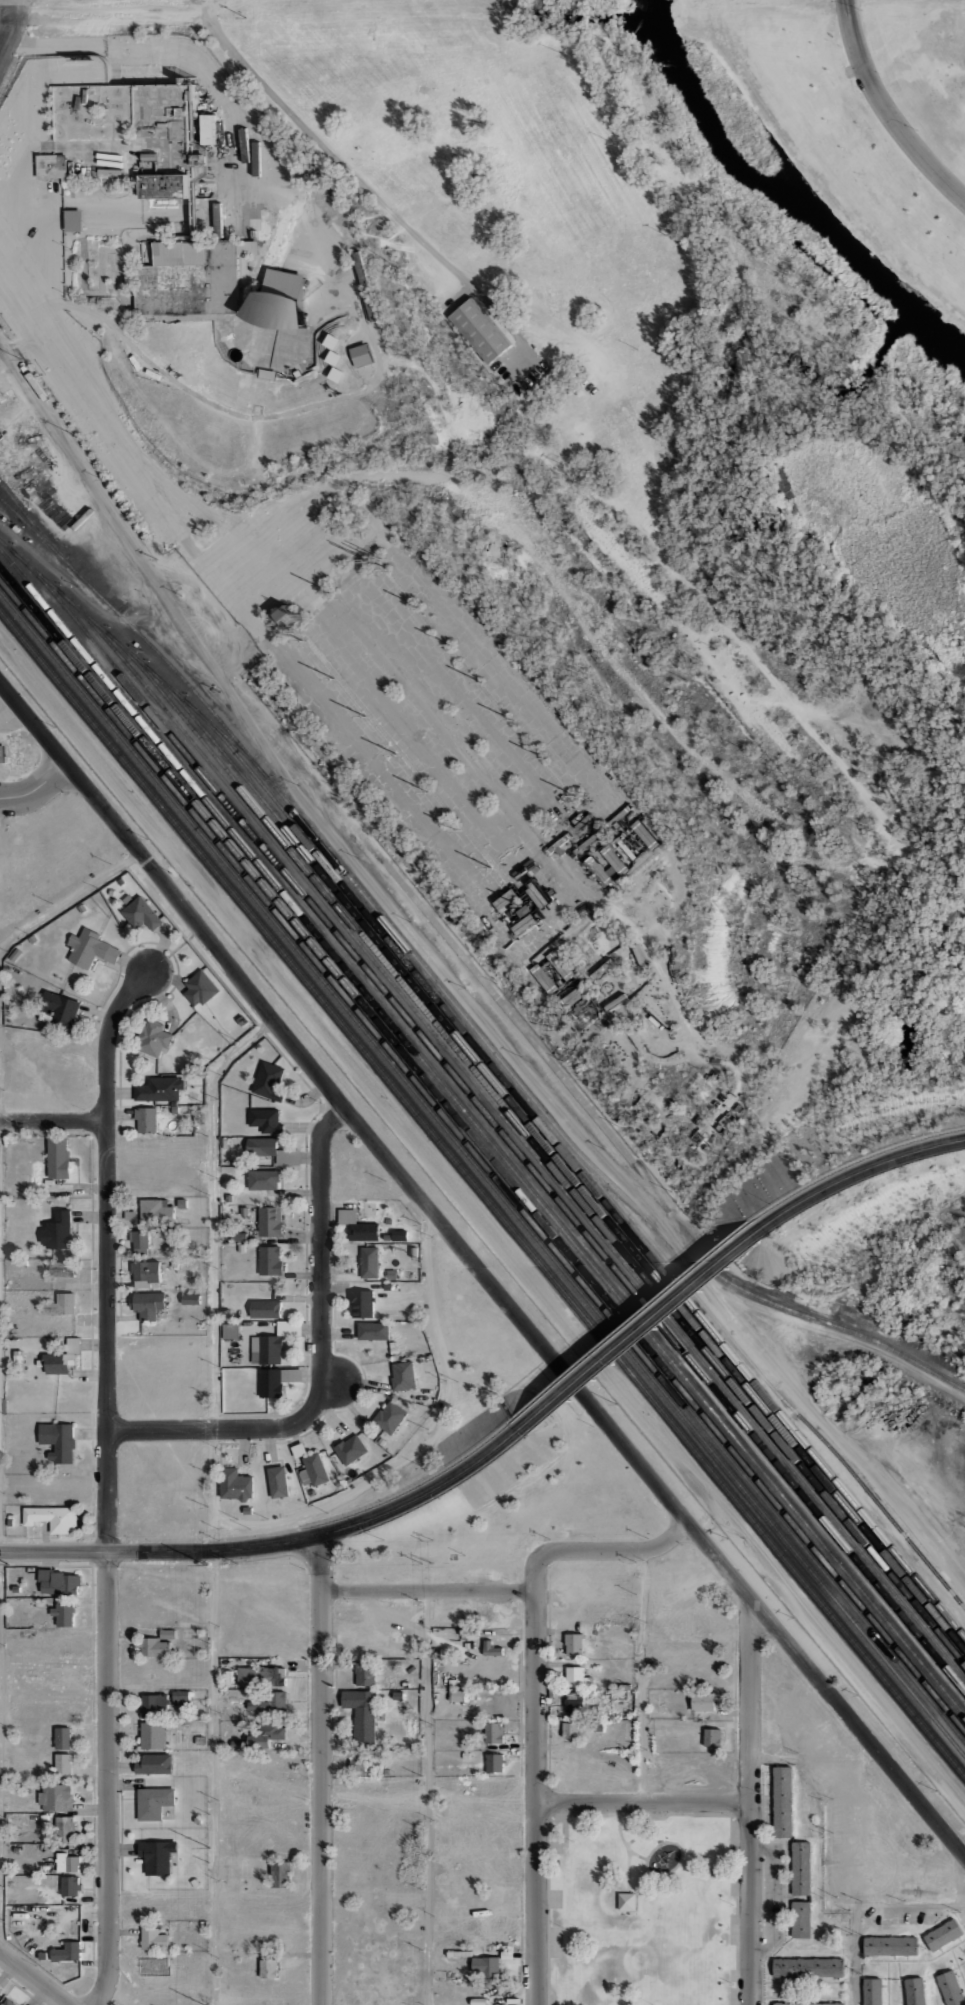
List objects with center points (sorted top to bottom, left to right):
road: (200, 9)
road: (10, 26)
road: (885, 112)
road: (295, 122)
building: (207, 130)
building: (152, 156)
building: (198, 160)
building: (52, 166)
building: (167, 186)
river: (785, 195)
building: (204, 211)
building: (216, 220)
building: (73, 221)
building: (276, 233)
building: (246, 248)
building: (262, 268)
building: (361, 268)
building: (188, 279)
road: (14, 302)
building: (277, 303)
building: (370, 304)
park: (717, 305)
building: (479, 331)
building: (330, 342)
building: (361, 355)
building: (332, 358)
building: (265, 374)
building: (295, 374)
building: (335, 375)
building: (258, 409)
road: (447, 464)
building: (269, 494)
railway: (30, 519)
road: (189, 569)
road: (76, 592)
building: (287, 616)
railway: (134, 657)
building: (2, 754)
road: (36, 788)
building: (616, 863)
building: (120, 882)
building: (112, 893)
road: (66, 897)
building: (81, 908)
road: (423, 909)
building: (141, 914)
building: (32, 939)
building: (91, 949)
building: (15, 955)
building: (560, 966)
building: (543, 979)
road: (459, 988)
building: (200, 990)
building: (573, 997)
building: (615, 1002)
building: (60, 1009)
building: (241, 1020)
road: (685, 1024)
building: (152, 1037)
road: (668, 1042)
railway: (489, 1049)
building: (716, 1062)
building: (273, 1082)
building: (155, 1089)
building: (175, 1110)
road: (677, 1115)
building: (146, 1119)
building: (265, 1120)
road: (51, 1121)
railway: (494, 1125)
railway: (482, 1134)
railway: (520, 1143)
railway: (482, 1147)
building: (225, 1149)
building: (264, 1150)
railway: (541, 1155)
building: (289, 1157)
building: (58, 1158)
railway: (482, 1163)
railway: (564, 1168)
road: (854, 1173)
railway: (482, 1176)
railway: (583, 1176)
building: (263, 1180)
railway: (482, 1195)
building: (228, 1198)
building: (168, 1202)
building: (182, 1203)
road: (213, 1210)
building: (244, 1211)
building: (150, 1212)
building: (169, 1212)
building: (130, 1215)
building: (270, 1221)
building: (356, 1226)
building: (58, 1231)
building: (399, 1235)
building: (168, 1237)
building: (239, 1237)
building: (387, 1237)
building: (139, 1240)
building: (241, 1248)
road: (102, 1253)
building: (269, 1260)
building: (369, 1263)
building: (174, 1265)
road: (319, 1267)
building: (64, 1270)
building: (146, 1275)
road: (477, 1276)
railway: (731, 1282)
building: (229, 1286)
building: (192, 1299)
building: (361, 1303)
building: (61, 1304)
building: (149, 1305)
building: (20, 1309)
building: (265, 1309)
building: (227, 1313)
building: (289, 1328)
road: (640, 1330)
building: (230, 1331)
building: (373, 1331)
building: (74, 1345)
building: (232, 1346)
building: (266, 1349)
building: (393, 1350)
building: (18, 1357)
building: (419, 1360)
building: (58, 1362)
building: (235, 1365)
building: (403, 1376)
building: (270, 1383)
road: (329, 1383)
building: (389, 1417)
road: (196, 1428)
building: (58, 1441)
building: (381, 1441)
road: (425, 1443)
building: (299, 1450)
building: (349, 1450)
building: (313, 1470)
building: (922, 1470)
building: (926, 1476)
building: (278, 1479)
building: (235, 1483)
road: (216, 1489)
building: (10, 1517)
building: (54, 1519)
building: (10, 1523)
road: (328, 1532)
railway: (822, 1533)
road: (19, 1538)
road: (52, 1551)
road: (600, 1551)
building: (44, 1575)
building: (62, 1584)
building: (16, 1589)
road: (426, 1590)
building: (64, 1614)
building: (167, 1634)
building: (574, 1644)
building: (470, 1645)
building: (491, 1646)
building: (153, 1647)
building: (410, 1668)
building: (365, 1674)
building: (274, 1676)
road: (640, 1676)
building: (247, 1677)
building: (577, 1678)
building: (405, 1685)
building: (553, 1694)
building: (180, 1695)
building: (458, 1695)
building: (398, 1696)
road: (535, 1696)
building: (278, 1699)
building: (704, 1702)
road: (746, 1704)
building: (256, 1705)
building: (154, 1706)
building: (574, 1706)
building: (363, 1716)
building: (569, 1730)
building: (273, 1731)
building: (494, 1733)
building: (63, 1736)
building: (153, 1736)
building: (712, 1737)
building: (466, 1755)
building: (493, 1763)
building: (363, 1764)
building: (65, 1769)
road: (320, 1770)
road: (212, 1777)
road: (104, 1780)
road: (425, 1797)
building: (56, 1798)
road: (640, 1802)
building: (783, 1802)
building: (156, 1805)
road: (640, 1813)
building: (65, 1829)
road: (661, 1841)
building: (154, 1857)
building: (66, 1863)
building: (801, 1868)
road: (627, 1870)
road: (824, 1870)
building: (281, 1874)
building: (71, 1887)
building: (627, 1902)
road: (746, 1903)
road: (535, 1904)
park: (640, 1908)
building: (801, 1920)
building: (943, 1935)
building: (154, 1939)
building: (890, 1946)
building: (66, 1952)
building: (459, 1954)
building: (42, 1955)
building: (507, 1955)
building: (485, 1967)
building: (808, 1967)
building: (268, 1969)
road: (32, 1978)
building: (950, 1988)
building: (872, 1991)
building: (914, 1991)
building: (8, 2002)
building: (809, 2003)

